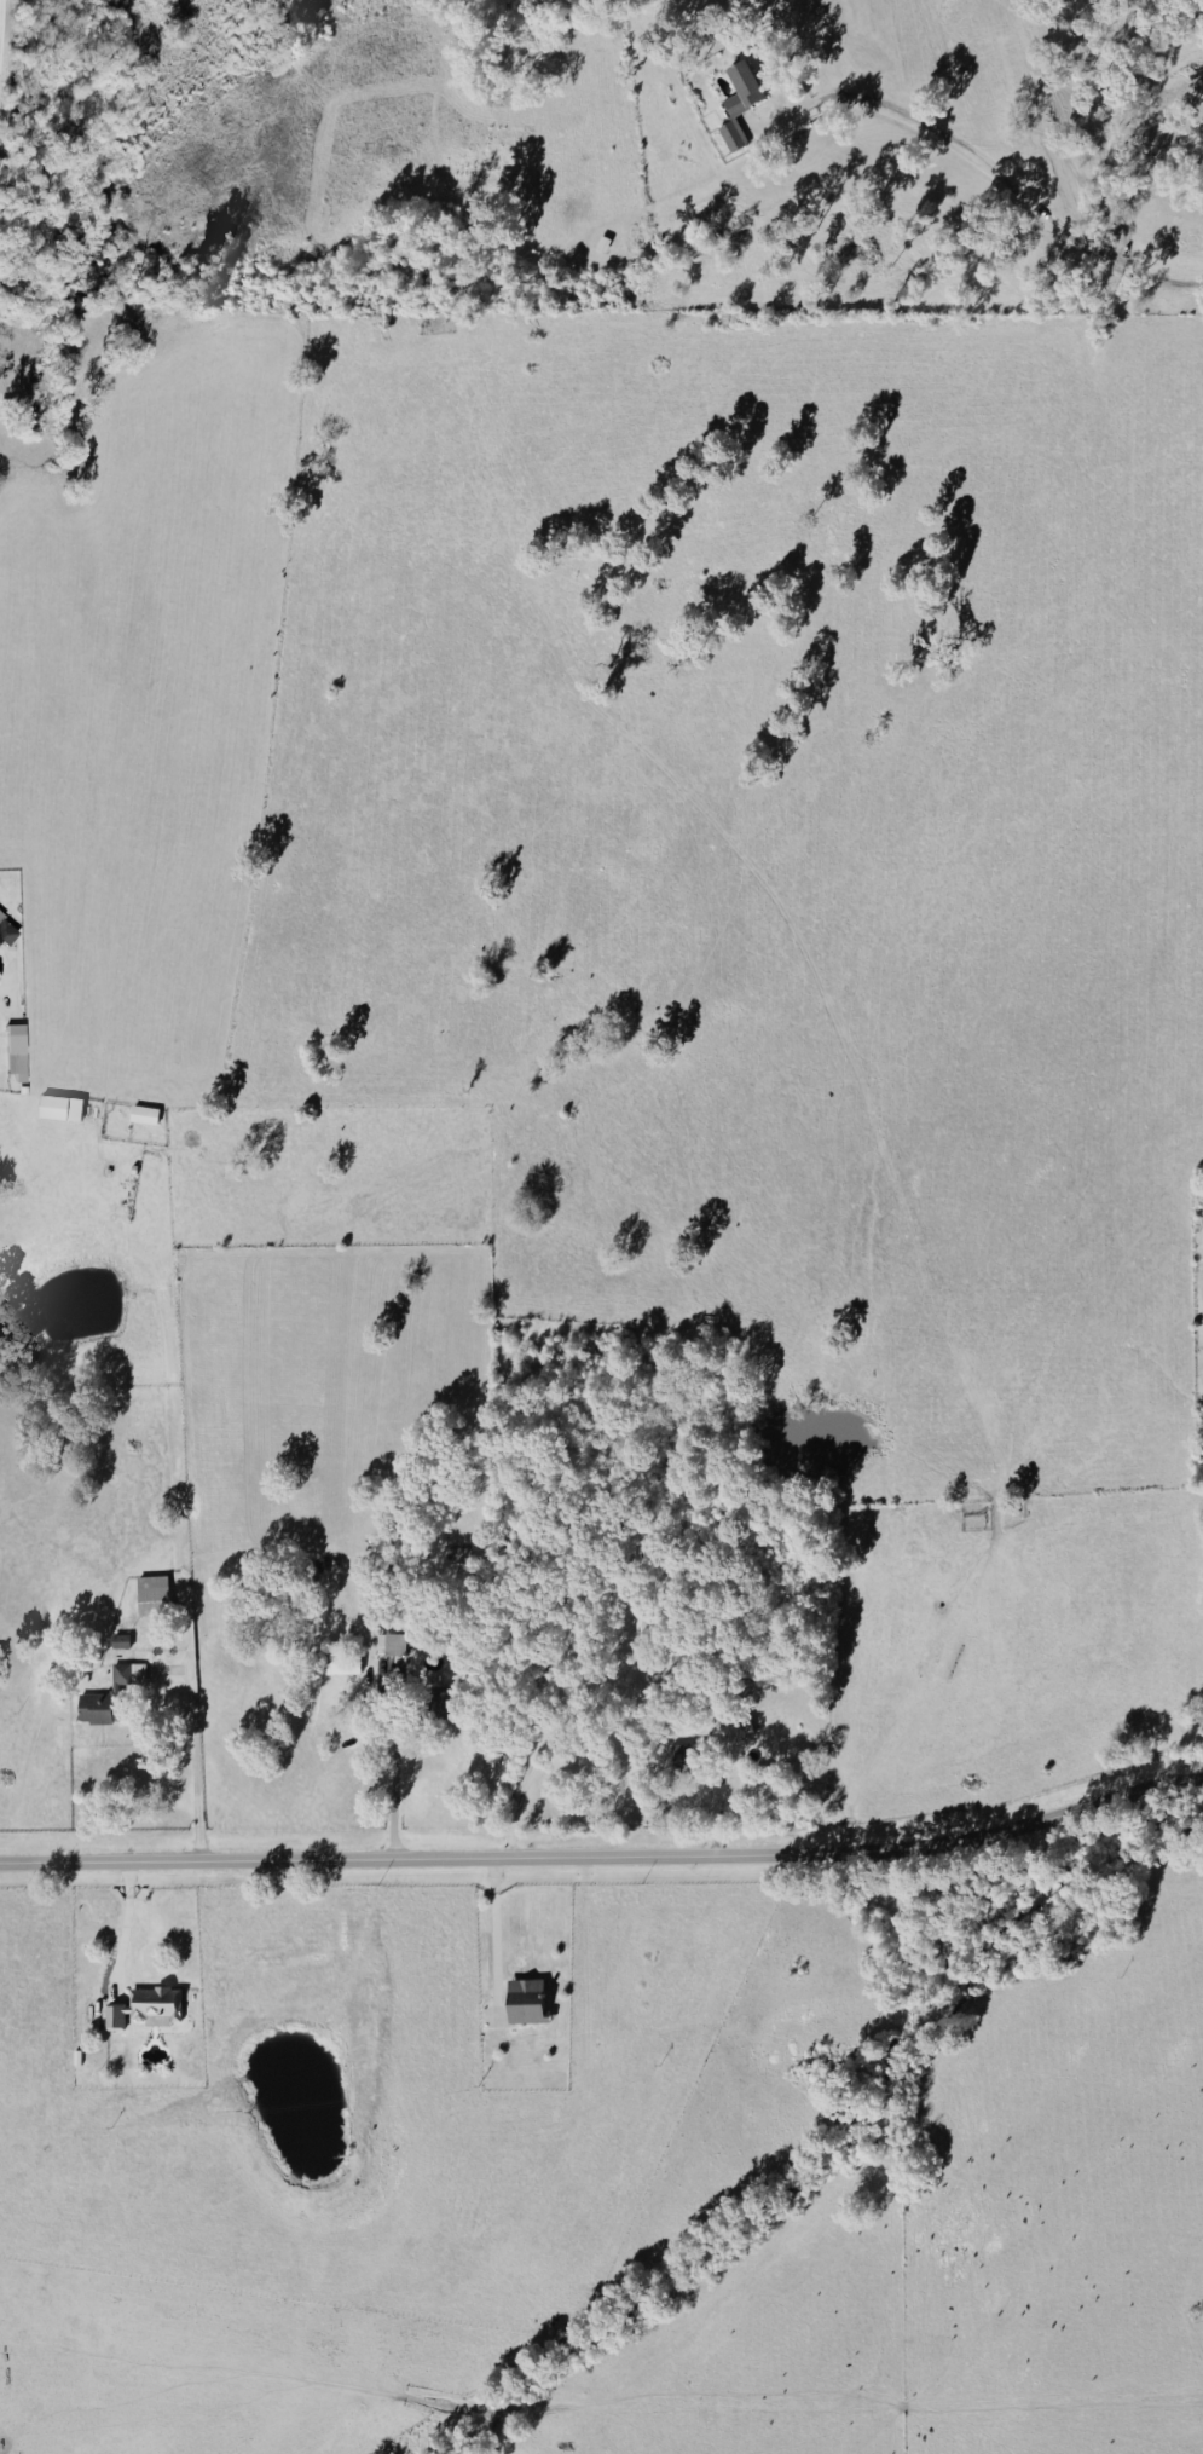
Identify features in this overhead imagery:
building: (735, 100)
road: (985, 167)
park: (0, 191)
park: (28, 383)
building: (8, 930)
road: (5, 975)
building: (21, 1052)
building: (65, 1108)
building: (149, 1115)
building: (148, 1588)
building: (116, 1640)
building: (387, 1644)
building: (337, 1663)
building: (126, 1674)
building: (433, 1704)
building: (89, 1708)
road: (199, 1750)
building: (681, 1753)
road: (400, 1780)
road: (517, 1791)
road: (607, 1852)
road: (122, 1922)
road: (501, 1938)
building: (520, 2000)
building: (143, 2008)

